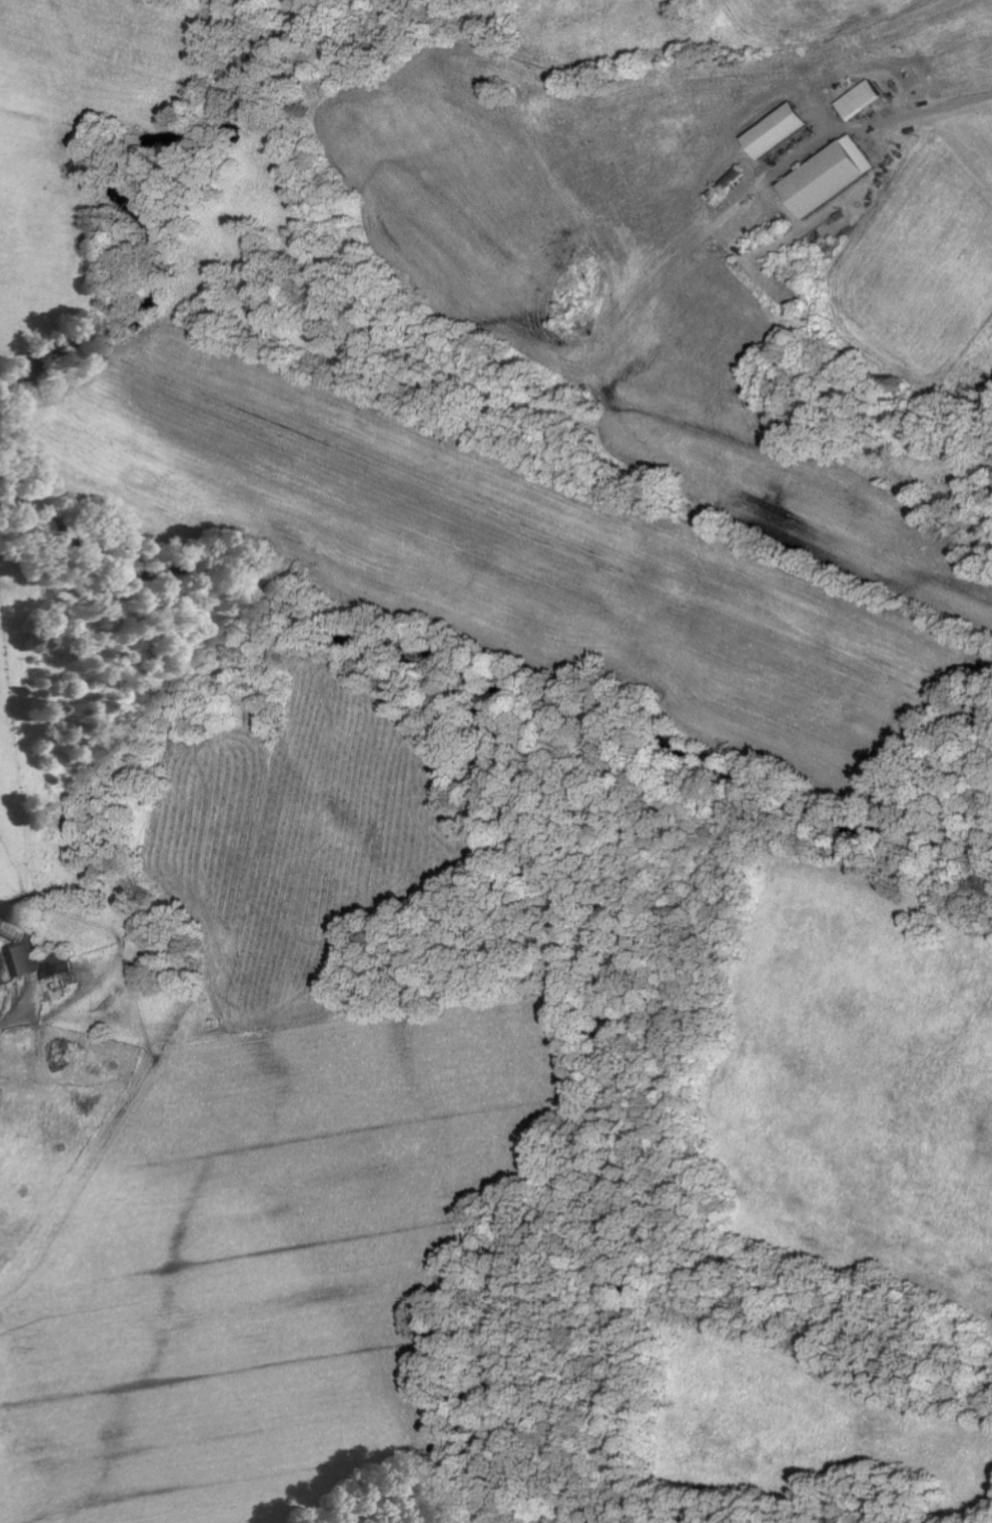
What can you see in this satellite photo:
building: (859, 100)
building: (776, 131)
building: (826, 176)
road: (956, 359)
building: (38, 963)

